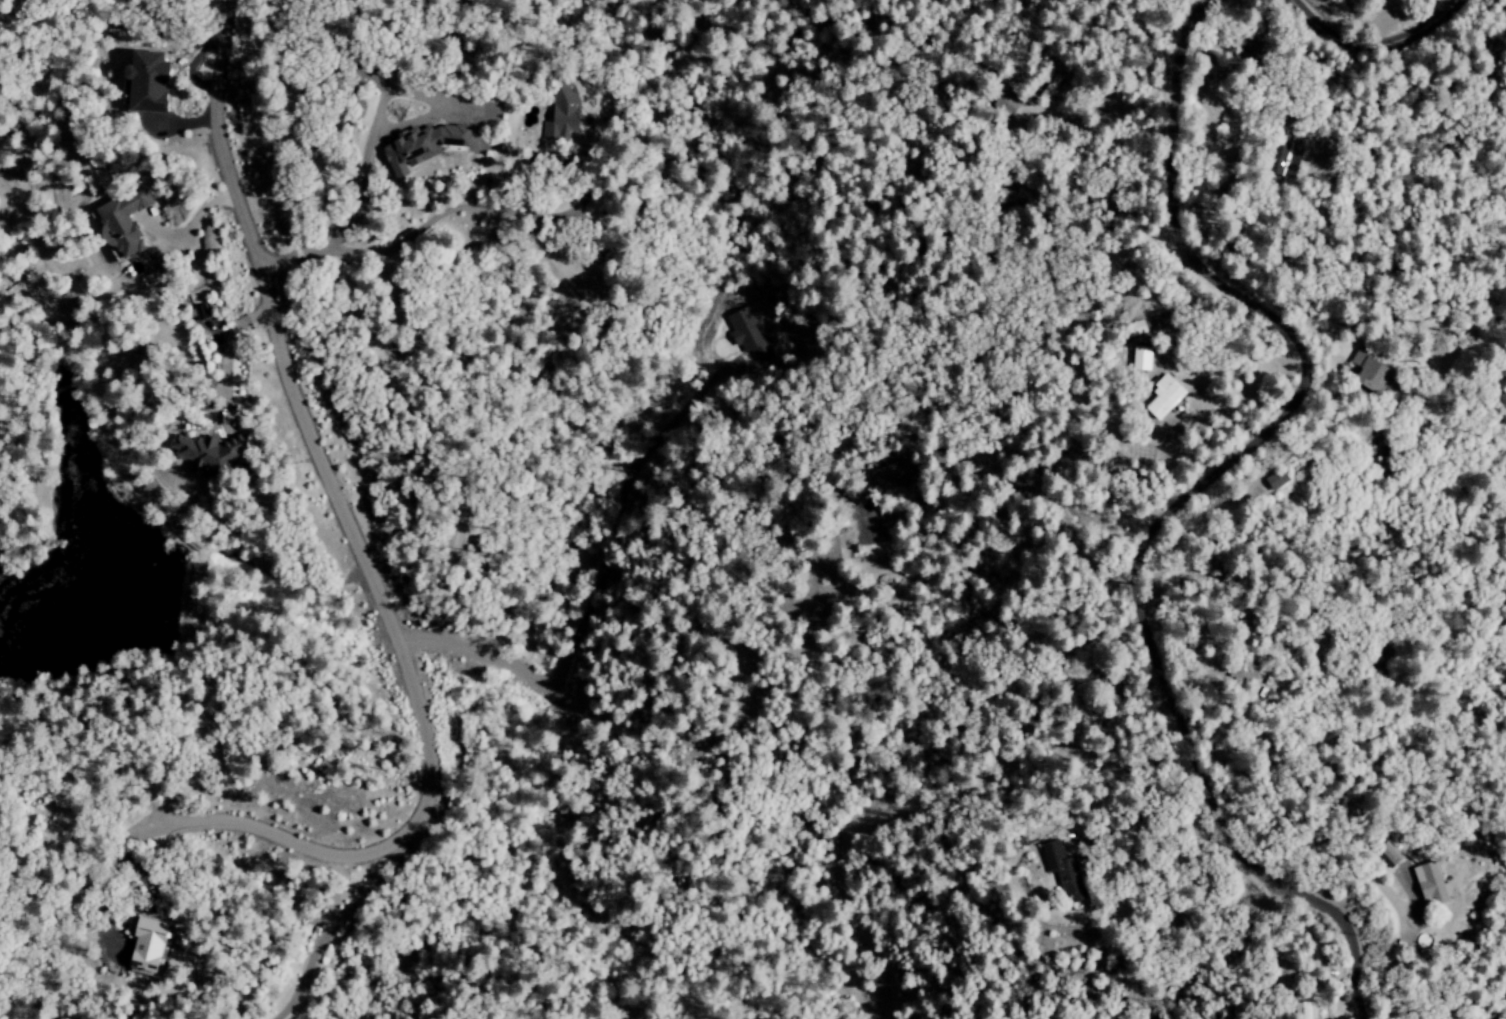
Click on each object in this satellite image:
road: (1370, 48)
building: (145, 82)
building: (1005, 104)
building: (559, 113)
building: (415, 146)
building: (1283, 155)
road: (359, 190)
building: (122, 223)
building: (749, 327)
building: (1138, 359)
building: (1368, 371)
building: (1160, 397)
building: (203, 453)
building: (888, 476)
building: (1275, 480)
road: (1181, 503)
road: (347, 529)
road: (593, 590)
road: (252, 829)
building: (1389, 853)
building: (1430, 885)
building: (1422, 941)
building: (143, 944)
building: (1304, 1011)

